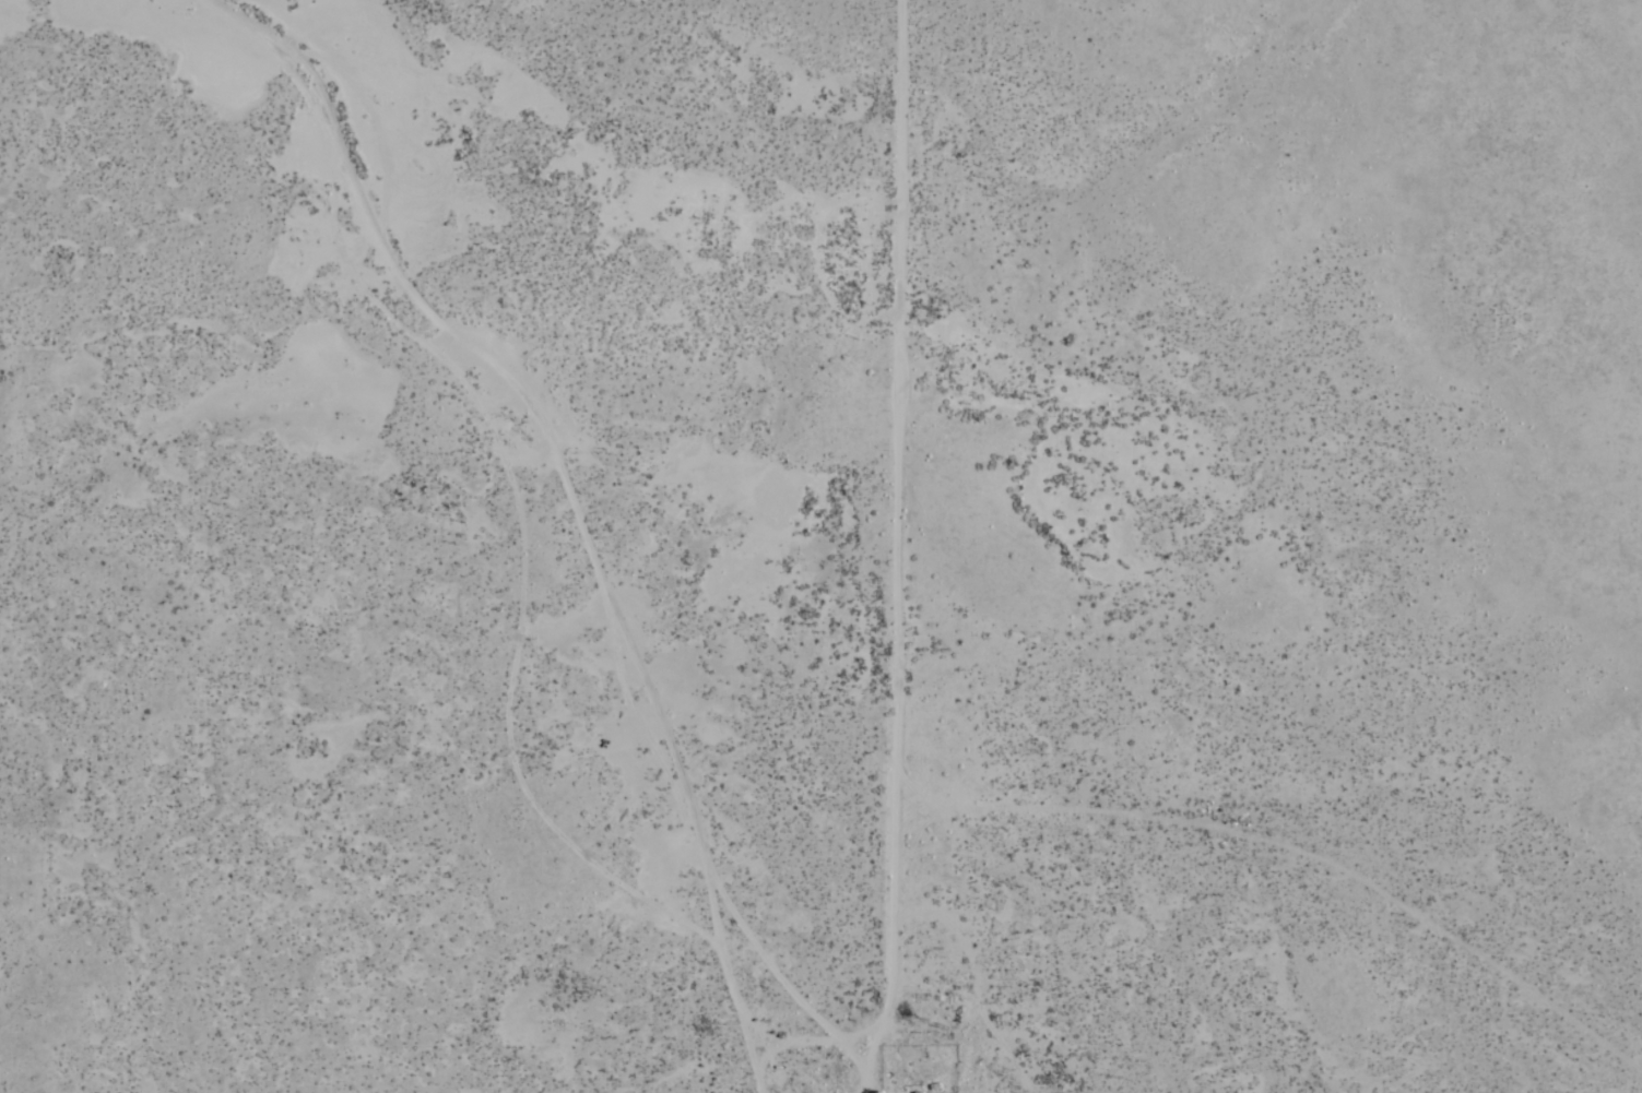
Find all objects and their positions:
road: (575, 518)

